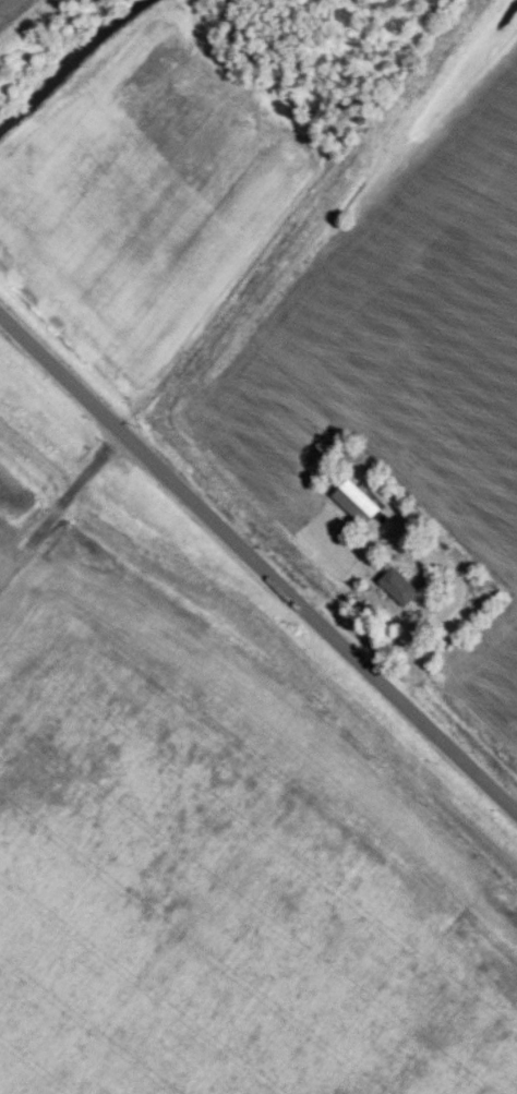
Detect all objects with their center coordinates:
building: (356, 501)
road: (258, 563)
building: (399, 585)
road: (443, 611)

